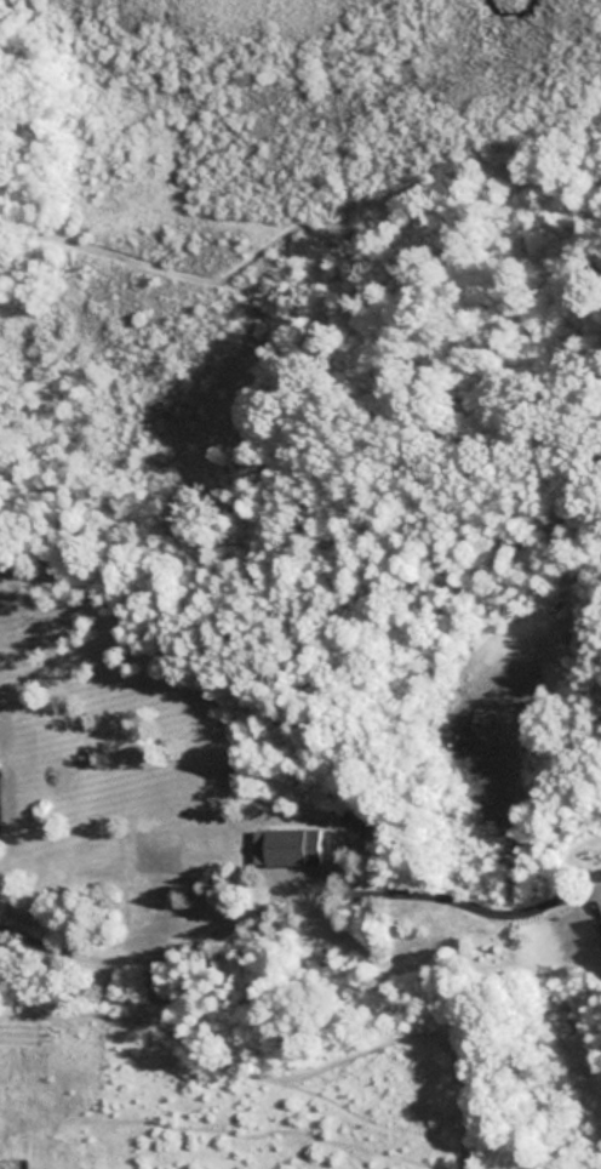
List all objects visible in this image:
building: (286, 846)
road: (276, 896)
building: (597, 926)

